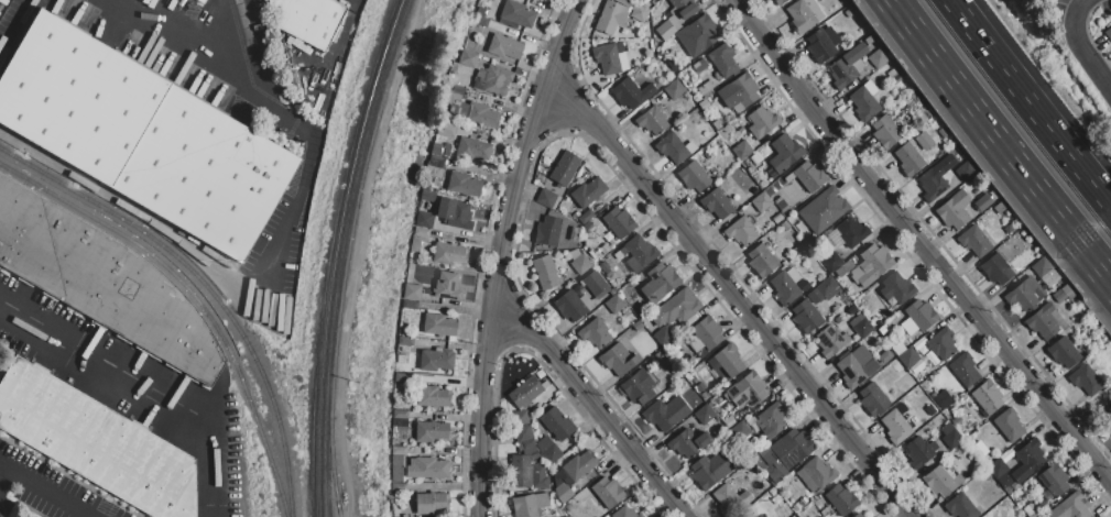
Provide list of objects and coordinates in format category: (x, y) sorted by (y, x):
building: (778, 2)
building: (682, 11)
building: (640, 13)
building: (518, 14)
building: (803, 15)
building: (308, 19)
building: (612, 19)
building: (481, 21)
road: (17, 28)
building: (507, 30)
building: (665, 30)
road: (190, 34)
road: (250, 34)
building: (698, 35)
building: (1109, 35)
building: (823, 45)
road: (1077, 45)
building: (505, 46)
building: (468, 58)
building: (880, 58)
building: (608, 59)
building: (723, 61)
building: (847, 66)
building: (494, 79)
building: (897, 79)
building: (706, 87)
building: (674, 89)
building: (457, 90)
building: (630, 92)
building: (739, 92)
building: (711, 98)
road: (1030, 103)
building: (865, 105)
building: (477, 113)
building: (652, 120)
building: (762, 122)
building: (465, 130)
building: (446, 131)
building: (885, 132)
building: (143, 135)
road: (1004, 135)
building: (925, 141)
building: (673, 147)
building: (471, 148)
building: (742, 150)
building: (785, 152)
building: (908, 159)
building: (436, 164)
road: (308, 165)
building: (566, 168)
building: (966, 170)
building: (696, 176)
building: (810, 176)
building: (464, 185)
building: (932, 185)
building: (588, 193)
building: (547, 199)
building: (762, 202)
building: (983, 202)
building: (718, 204)
building: (781, 205)
road: (129, 209)
building: (824, 209)
building: (955, 210)
building: (456, 213)
building: (586, 216)
building: (424, 220)
building: (619, 222)
building: (588, 226)
building: (547, 231)
building: (741, 231)
building: (421, 232)
building: (852, 232)
building: (973, 241)
road: (919, 242)
building: (416, 243)
building: (640, 251)
road: (499, 253)
railway: (338, 254)
railway: (349, 254)
building: (449, 254)
building: (761, 261)
building: (579, 262)
building: (832, 262)
building: (871, 264)
building: (603, 266)
building: (996, 269)
building: (545, 272)
building: (1045, 272)
building: (410, 274)
building: (102, 280)
building: (660, 283)
building: (596, 285)
building: (785, 285)
railway: (206, 287)
building: (448, 287)
building: (828, 287)
building: (896, 288)
building: (411, 293)
building: (1025, 294)
building: (1064, 294)
road: (731, 296)
building: (815, 296)
railway: (194, 297)
building: (410, 305)
building: (573, 305)
building: (617, 305)
building: (676, 308)
building: (922, 316)
building: (805, 317)
building: (1045, 321)
building: (438, 326)
building: (638, 326)
building: (861, 326)
building: (883, 330)
building: (707, 332)
building: (595, 333)
building: (664, 335)
building: (872, 337)
building: (405, 340)
building: (831, 341)
building: (941, 343)
road: (66, 349)
building: (401, 349)
building: (897, 349)
building: (1064, 352)
building: (884, 358)
building: (908, 358)
building: (401, 359)
building: (436, 360)
building: (619, 360)
building: (729, 360)
building: (917, 366)
building: (965, 369)
building: (856, 371)
building: (402, 377)
building: (1086, 380)
building: (639, 387)
building: (748, 389)
building: (525, 393)
building: (432, 396)
building: (988, 396)
building: (873, 399)
road: (591, 405)
building: (666, 413)
building: (400, 414)
building: (705, 415)
building: (771, 420)
building: (556, 424)
building: (896, 425)
building: (1009, 425)
road: (210, 429)
building: (740, 430)
building: (431, 432)
building: (523, 433)
building: (950, 437)
building: (96, 442)
building: (688, 443)
building: (793, 448)
building: (399, 450)
building: (922, 453)
building: (551, 454)
building: (1028, 461)
building: (396, 468)
building: (427, 469)
building: (998, 469)
building: (710, 470)
building: (520, 472)
building: (573, 474)
building: (773, 474)
building: (816, 475)
road: (3, 476)
building: (944, 480)
building: (1054, 481)
building: (400, 488)
road: (43, 491)
building: (606, 495)
building: (730, 499)
building: (842, 499)
building: (431, 503)
building: (965, 504)
building: (529, 505)
building: (1071, 507)
building: (1031, 510)
building: (625, 513)
building: (747, 514)
building: (404, 516)
building: (760, 516)
building: (858, 516)

